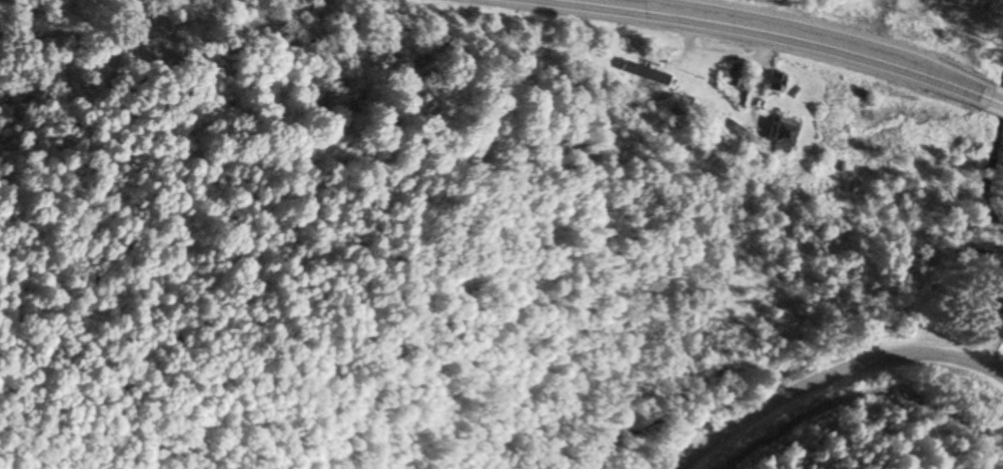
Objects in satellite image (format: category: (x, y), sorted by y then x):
road: (785, 35)
building: (641, 74)
building: (733, 77)
building: (771, 84)
road: (996, 102)
building: (776, 135)
road: (829, 375)

